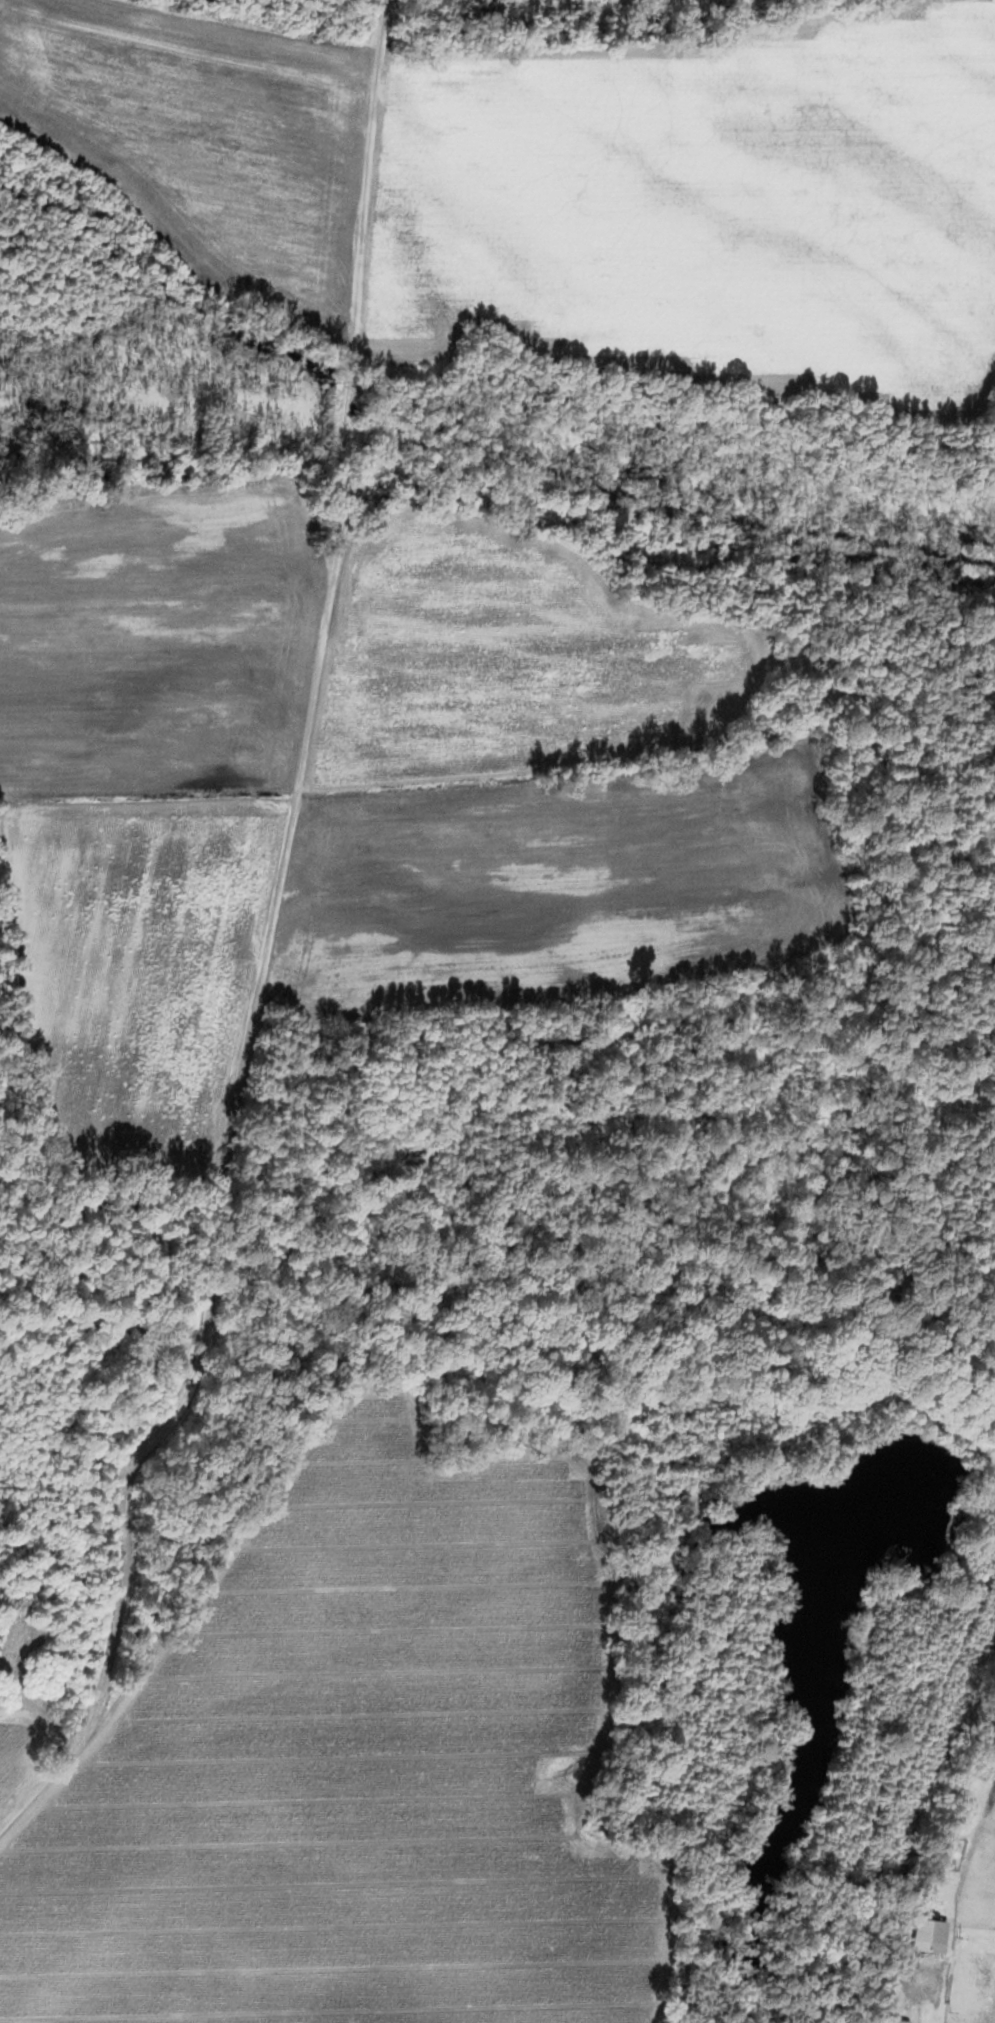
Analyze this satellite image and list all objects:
road: (127, 1666)
building: (925, 1934)
building: (973, 1963)

